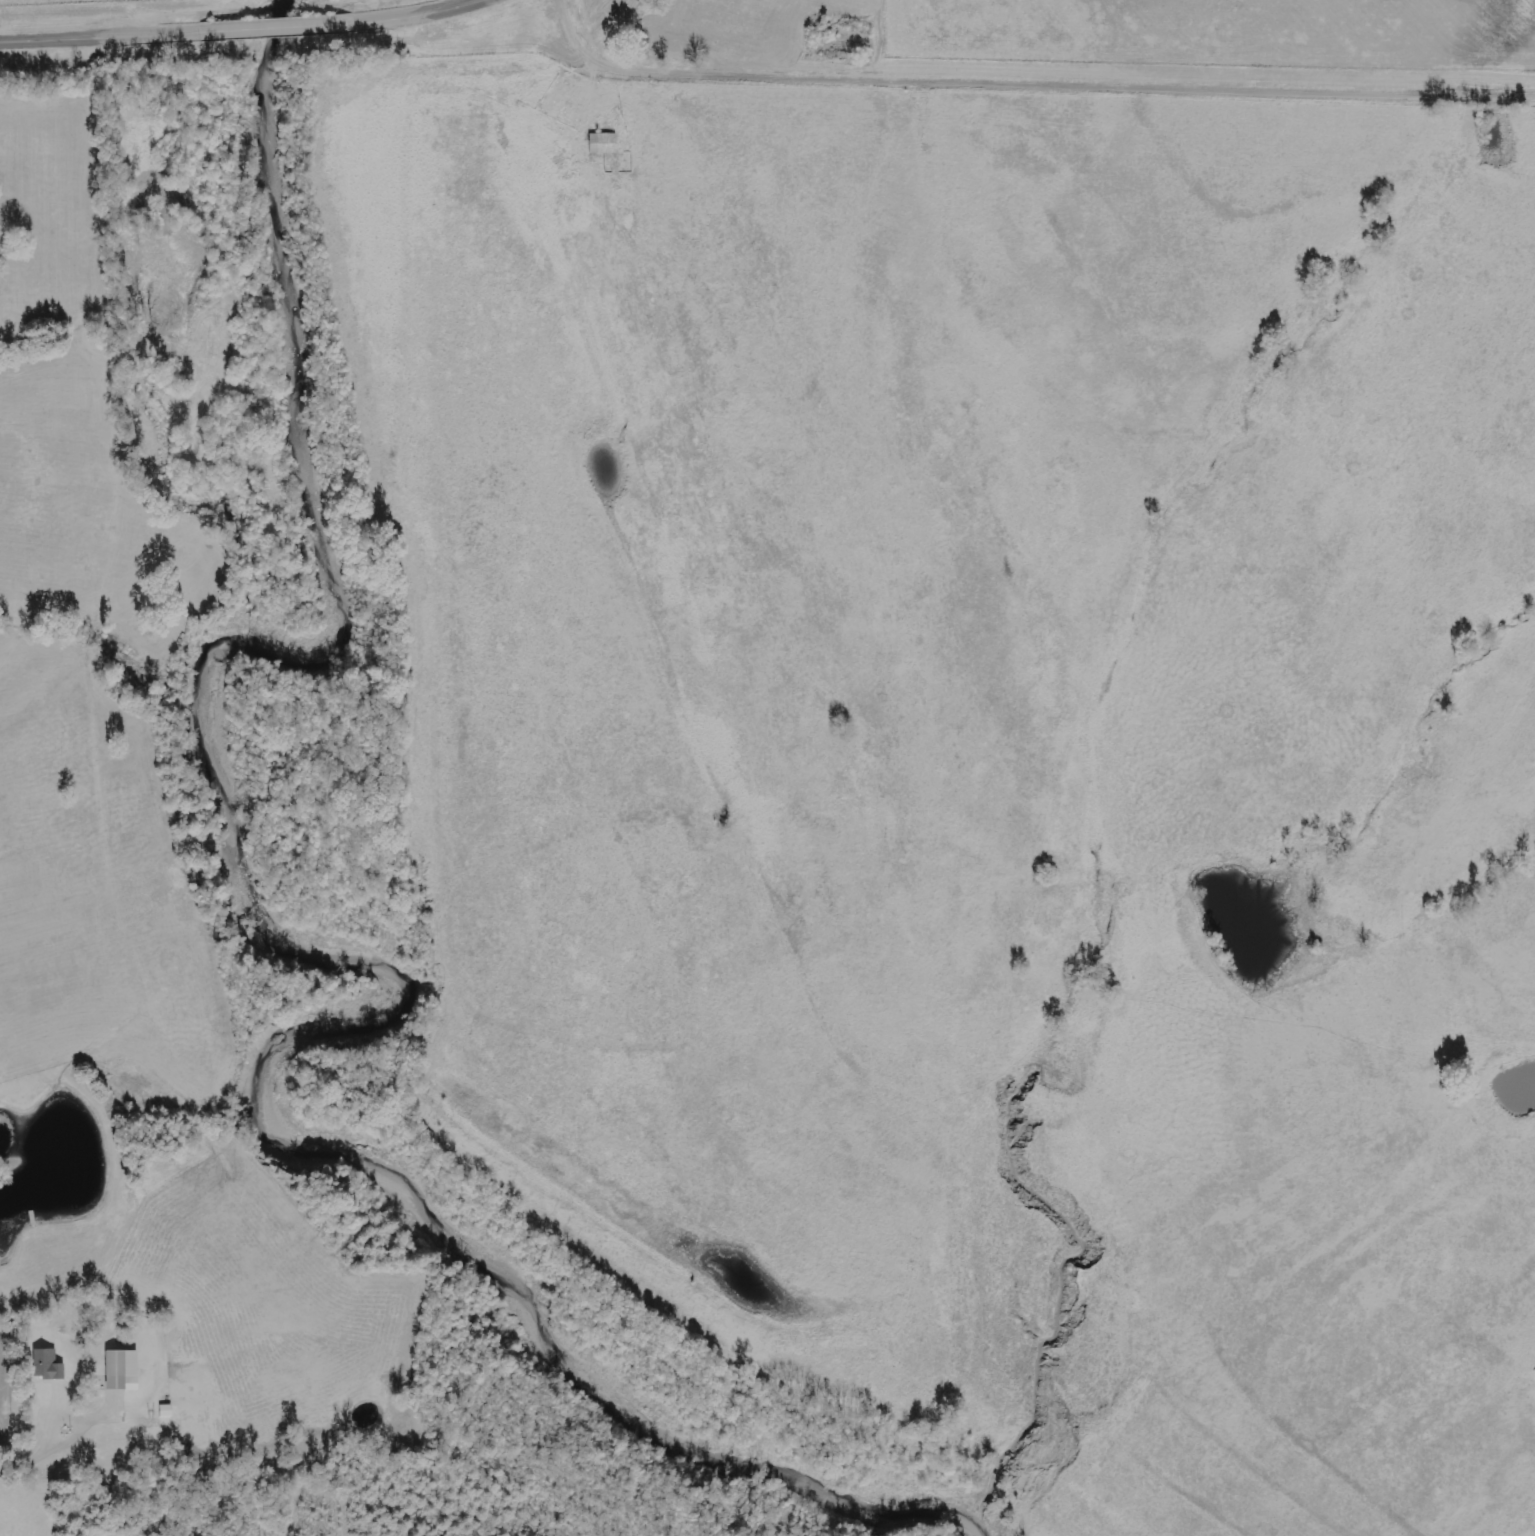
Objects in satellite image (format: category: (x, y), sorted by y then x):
road: (237, 28)
road: (1030, 65)
building: (603, 143)
building: (47, 1363)
building: (121, 1369)
building: (166, 1410)

